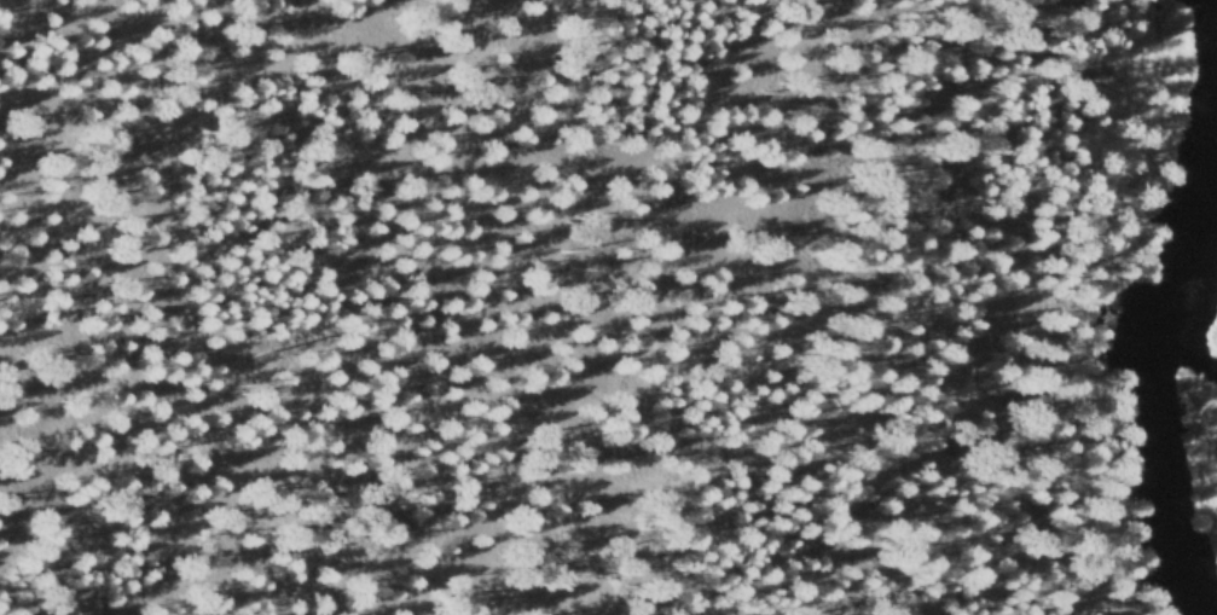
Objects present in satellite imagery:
river: (1125, 323)

